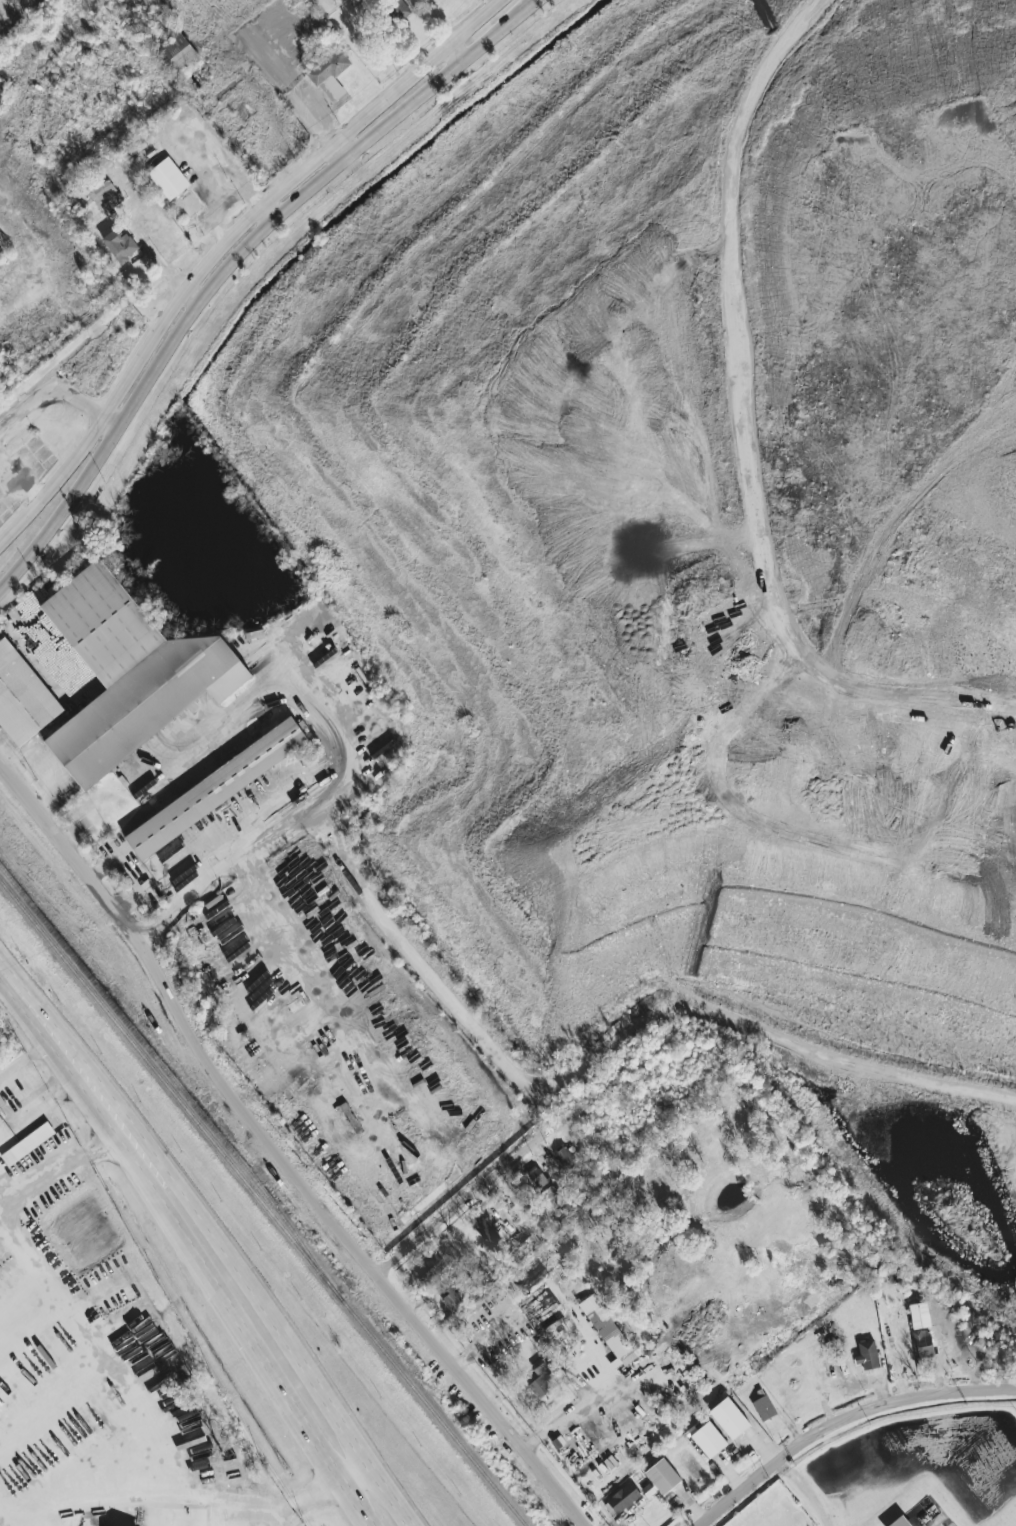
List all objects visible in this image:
building: (178, 52)
building: (330, 71)
road: (413, 71)
road: (440, 78)
road: (292, 87)
road: (336, 151)
building: (168, 178)
building: (106, 197)
road: (223, 200)
road: (274, 209)
building: (120, 245)
road: (201, 267)
road: (216, 279)
road: (190, 298)
road: (50, 385)
road: (739, 390)
road: (81, 403)
road: (52, 479)
road: (62, 508)
landfill: (682, 512)
building: (129, 672)
building: (22, 697)
road: (342, 756)
building: (215, 788)
road: (235, 869)
road: (463, 1011)
road: (45, 1017)
road: (791, 1054)
road: (29, 1058)
railway: (164, 1067)
road: (14, 1106)
road: (45, 1108)
building: (1, 1121)
building: (27, 1143)
road: (280, 1155)
building: (564, 1156)
road: (55, 1179)
building: (540, 1180)
road: (139, 1187)
road: (461, 1202)
railway: (262, 1204)
road: (194, 1218)
building: (485, 1230)
building: (431, 1266)
building: (451, 1299)
building: (919, 1315)
building: (612, 1334)
building: (926, 1351)
building: (867, 1354)
building: (544, 1377)
road: (588, 1404)
building: (764, 1407)
road: (282, 1414)
road: (331, 1416)
building: (729, 1417)
road: (840, 1423)
road: (135, 1424)
building: (708, 1439)
building: (662, 1476)
road: (347, 1477)
road: (801, 1491)
road: (386, 1495)
building: (621, 1499)
road: (4, 1514)
building: (900, 1522)

